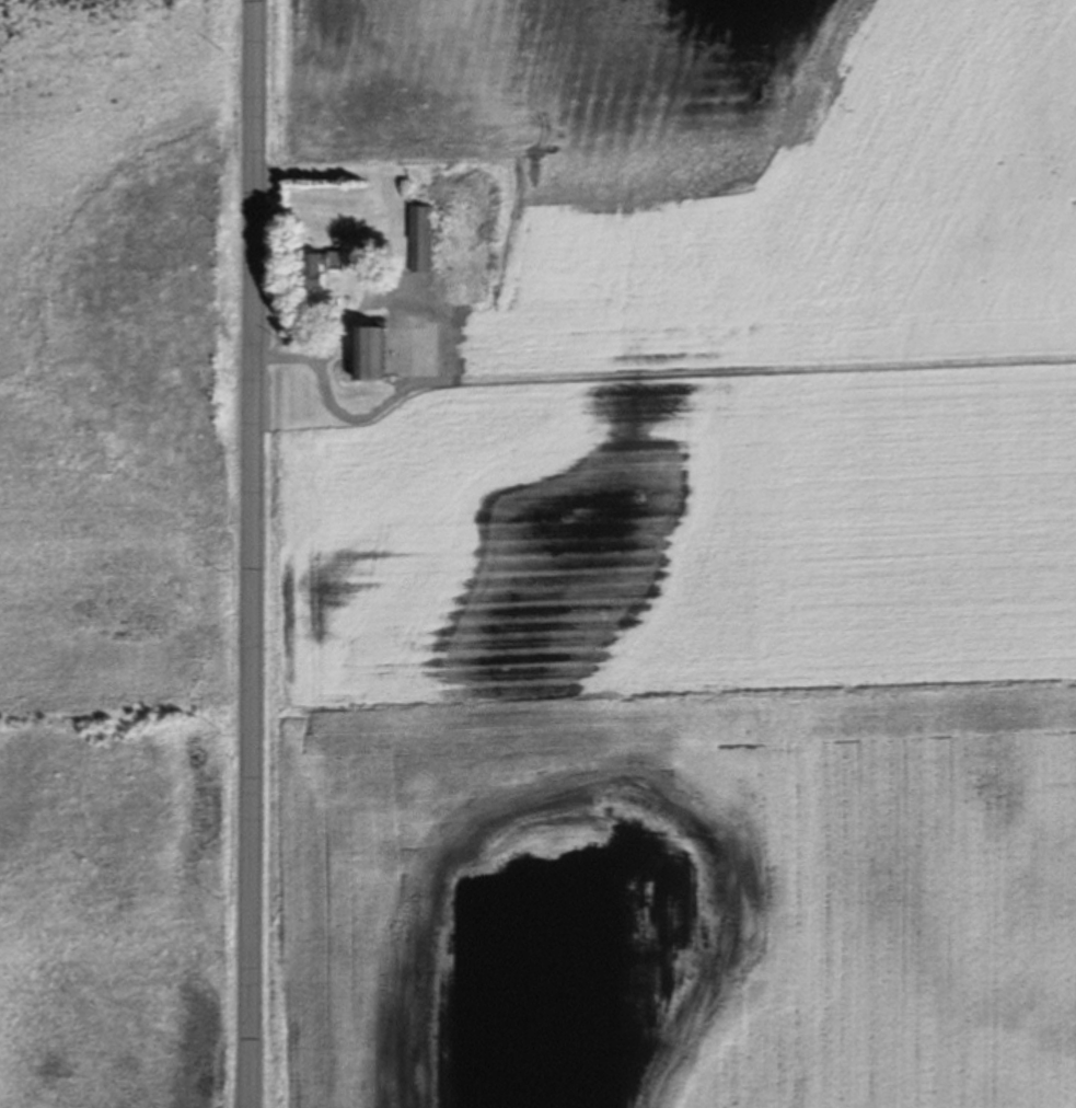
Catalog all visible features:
building: (420, 243)
building: (325, 270)
road: (365, 279)
building: (372, 358)
road: (253, 553)

